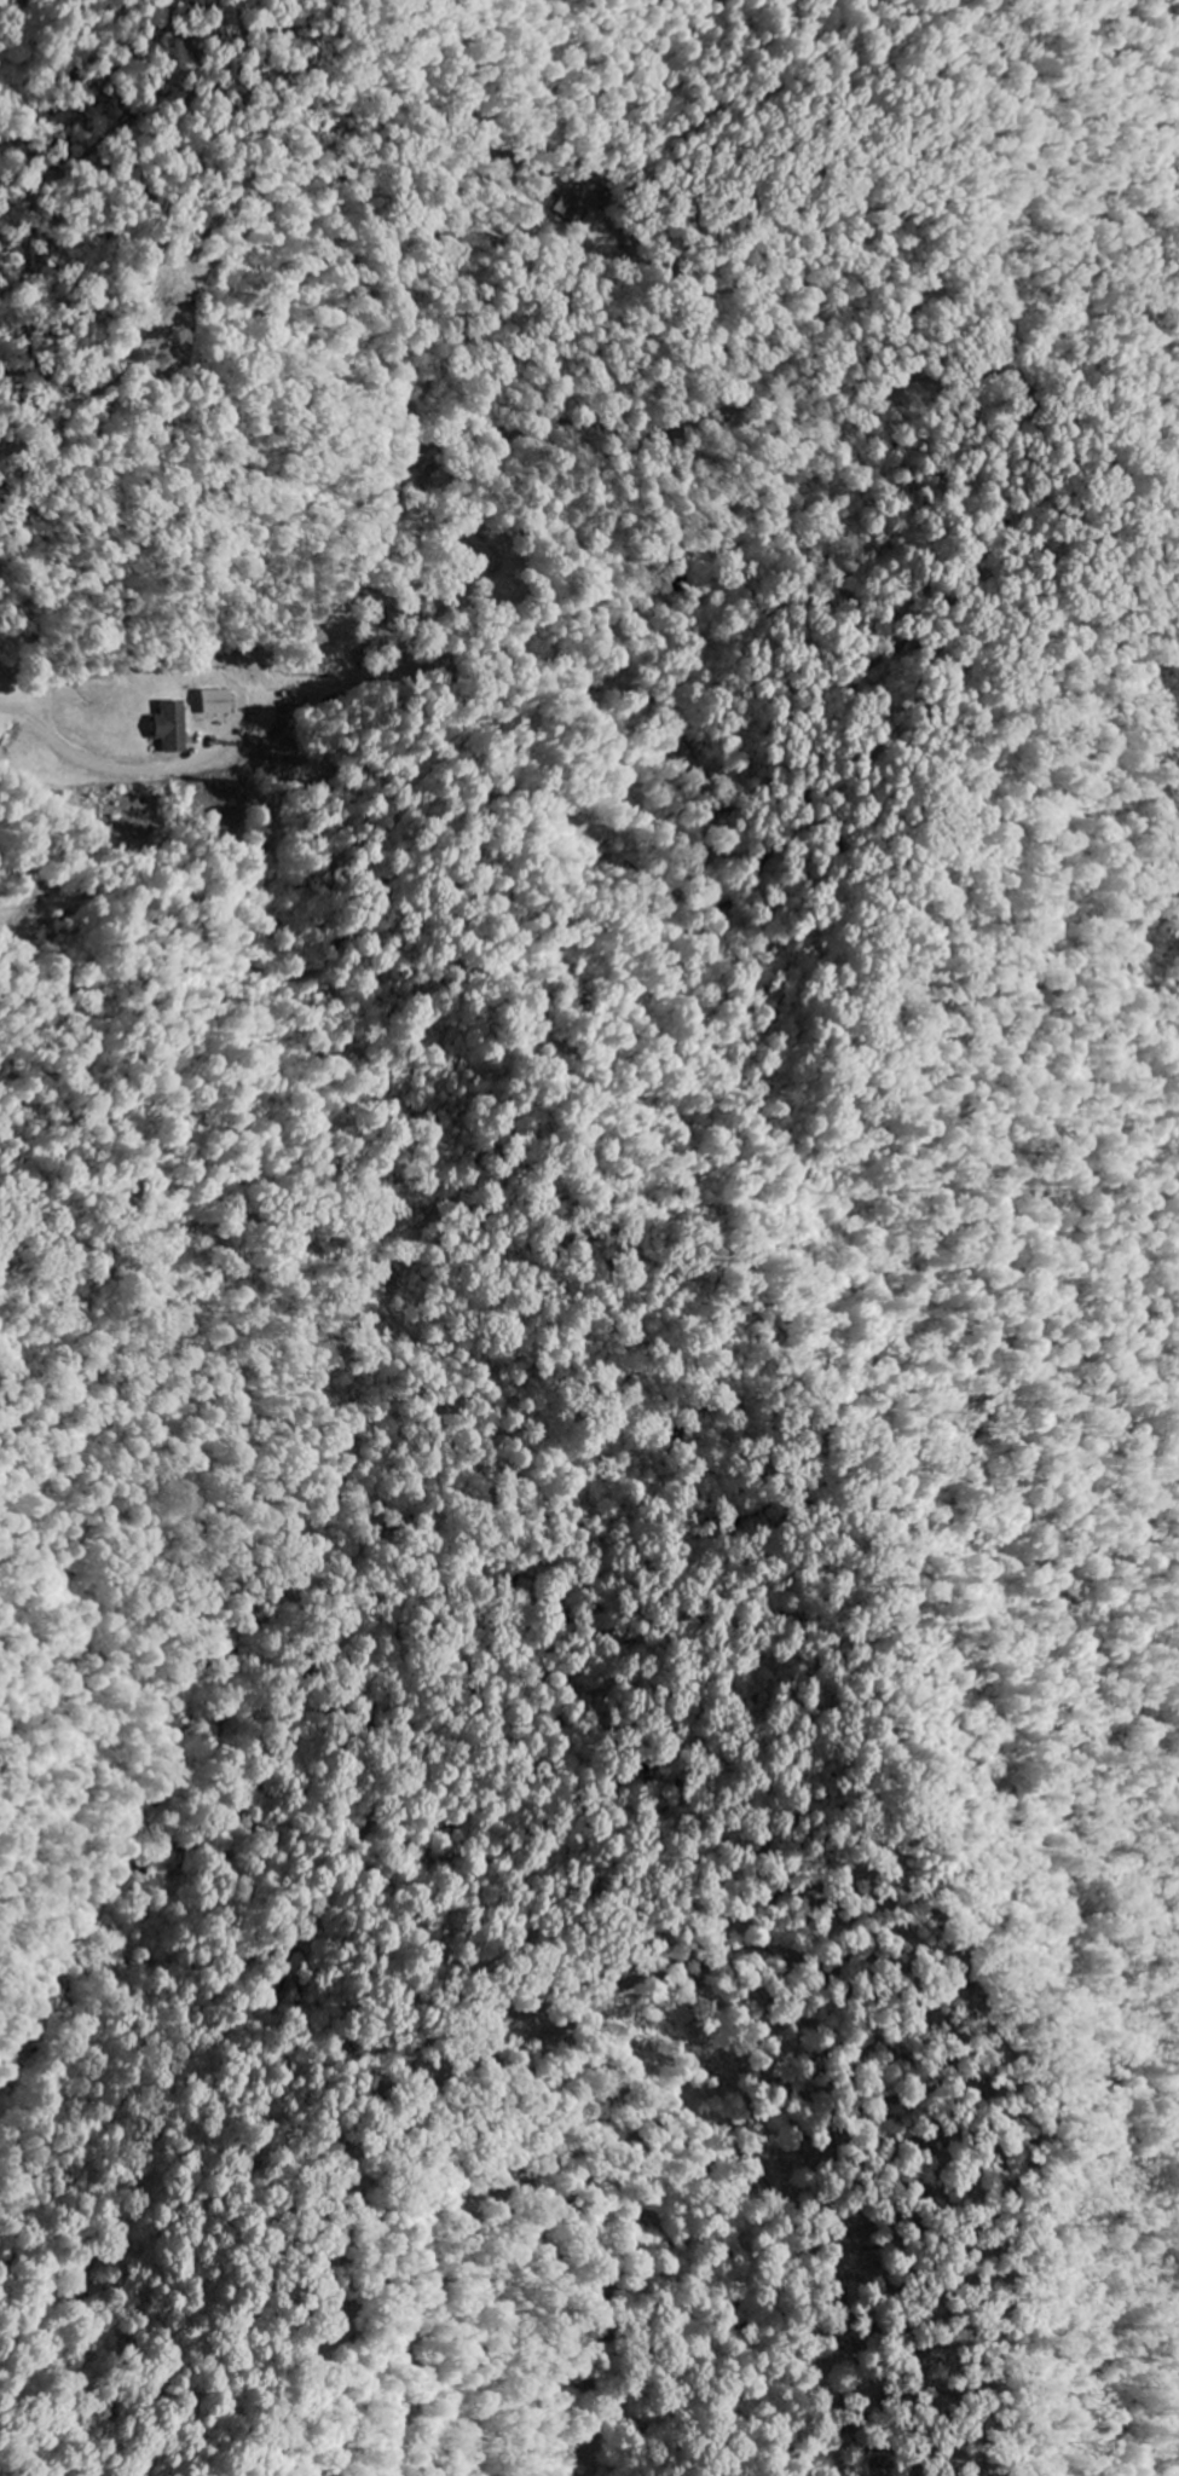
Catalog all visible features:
building: (218, 704)
road: (16, 705)
building: (173, 729)

